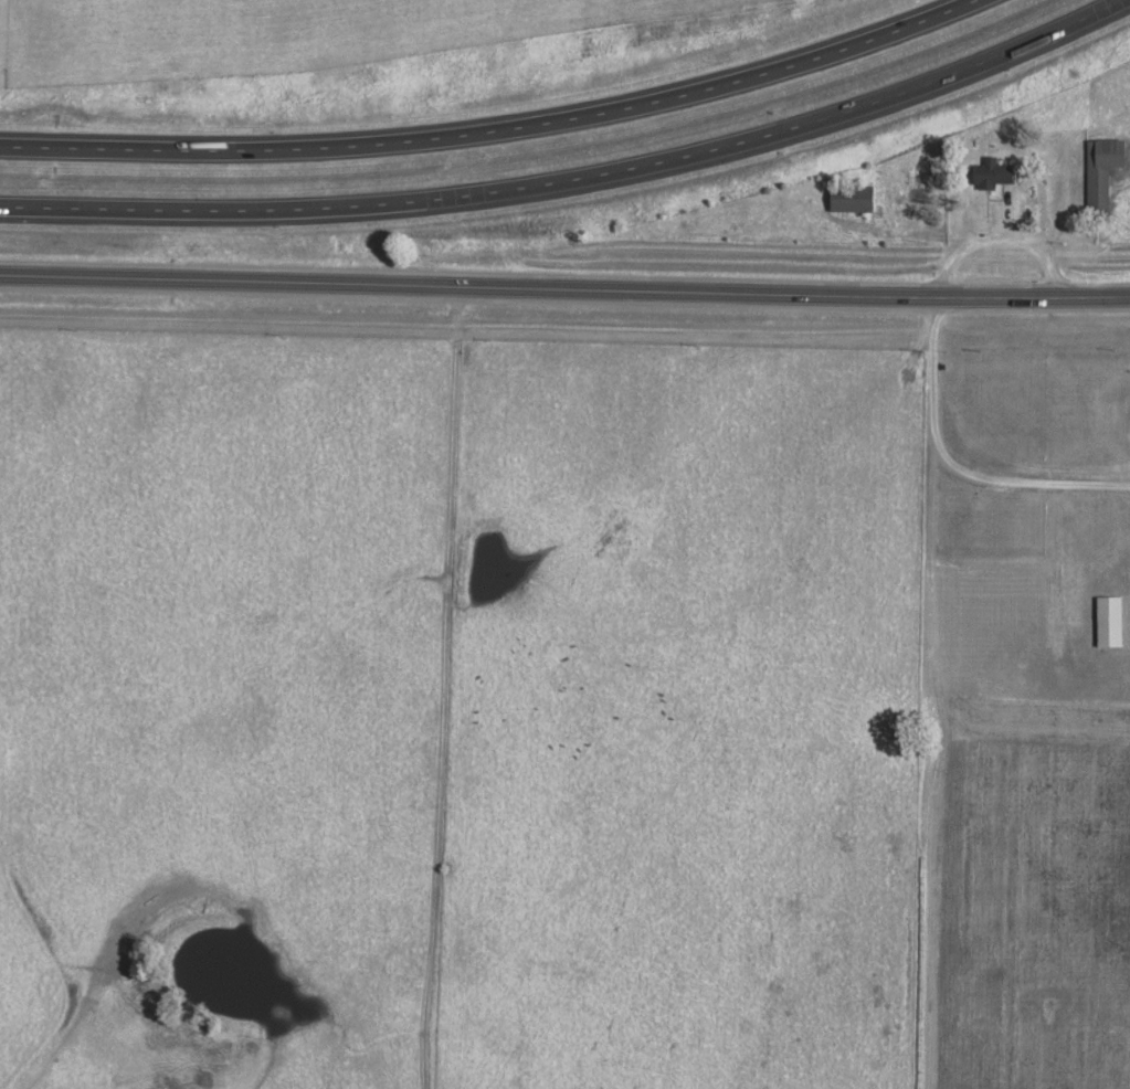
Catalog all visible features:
road: (494, 130)
building: (995, 172)
building: (1105, 172)
road: (575, 178)
building: (853, 198)
road: (564, 289)
building: (1111, 620)

